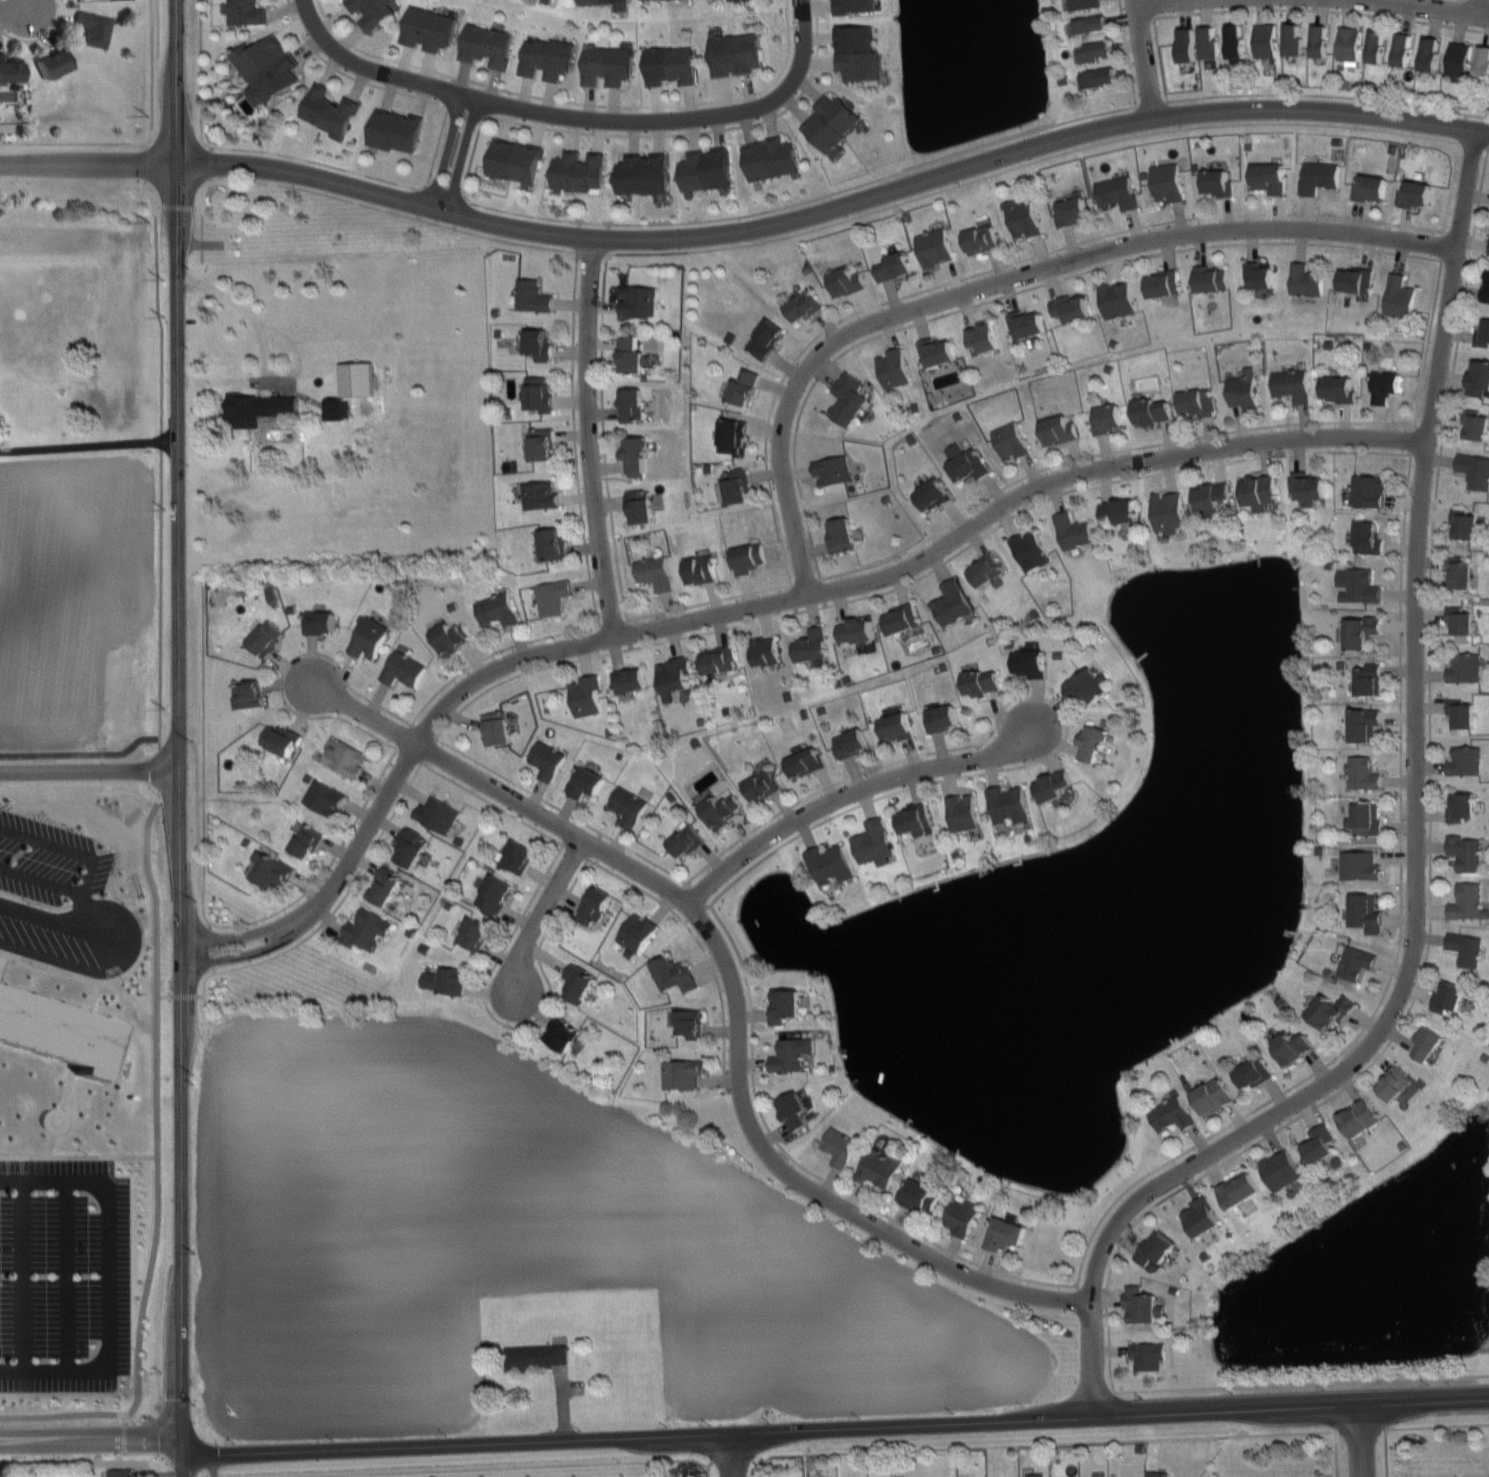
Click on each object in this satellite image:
building: (731, 0)
building: (600, 1)
road: (1158, 2)
building: (1085, 4)
road: (1425, 5)
road: (1480, 5)
building: (853, 6)
road: (1321, 9)
road: (19, 10)
building: (244, 12)
building: (372, 12)
building: (1094, 24)
building: (95, 28)
building: (428, 28)
road: (42, 37)
building: (1293, 39)
building: (1265, 40)
building: (1236, 41)
building: (1320, 41)
building: (1209, 43)
building: (486, 45)
building: (1187, 45)
building: (1348, 45)
building: (1377, 46)
building: (1404, 49)
building: (1100, 50)
building: (857, 52)
building: (735, 53)
road: (1127, 53)
building: (1431, 54)
building: (546, 57)
road: (1144, 57)
building: (1459, 58)
road: (1159, 60)
building: (1482, 62)
building: (55, 64)
building: (607, 64)
building: (671, 65)
building: (11, 69)
building: (266, 69)
road: (151, 71)
building: (1103, 77)
road: (1328, 94)
road: (574, 101)
building: (329, 111)
road: (776, 113)
road: (577, 117)
building: (831, 123)
building: (397, 130)
road: (74, 141)
road: (473, 145)
road: (1486, 148)
road: (451, 153)
building: (771, 158)
building: (515, 160)
road: (1027, 161)
road: (88, 162)
building: (707, 168)
building: (579, 170)
building: (643, 173)
building: (1319, 176)
road: (380, 178)
building: (1270, 178)
road: (870, 180)
building: (1167, 182)
building: (1217, 182)
building: (1371, 187)
road: (1449, 187)
building: (1118, 193)
building: (1417, 194)
road: (834, 206)
road: (388, 209)
building: (1073, 210)
building: (1024, 218)
road: (201, 220)
building: (981, 240)
building: (935, 247)
building: (1488, 249)
building: (896, 267)
road: (991, 267)
building: (1261, 276)
building: (1211, 278)
road: (1008, 279)
building: (1306, 280)
building: (848, 281)
building: (1355, 281)
building: (1162, 284)
building: (1485, 287)
road: (1016, 291)
building: (533, 296)
building: (1400, 296)
building: (640, 300)
building: (1118, 300)
building: (805, 305)
road: (572, 306)
building: (1072, 309)
road: (262, 319)
building: (1028, 325)
building: (1482, 331)
building: (984, 336)
building: (768, 338)
road: (262, 341)
road: (160, 342)
building: (539, 344)
road: (1425, 347)
building: (938, 352)
building: (633, 355)
building: (893, 369)
building: (1478, 377)
building: (357, 379)
building: (1291, 385)
building: (1386, 386)
building: (746, 387)
building: (1337, 388)
building: (1245, 390)
building: (539, 394)
building: (848, 398)
building: (1196, 403)
building: (632, 405)
building: (257, 406)
building: (337, 408)
building: (1154, 411)
building: (1109, 419)
building: (1476, 424)
building: (1059, 430)
building: (731, 435)
road: (601, 436)
road: (586, 437)
building: (1011, 441)
road: (88, 444)
building: (543, 444)
road: (1102, 452)
building: (639, 457)
building: (967, 464)
building: (1474, 469)
building: (833, 471)
building: (738, 487)
building: (1309, 488)
building: (1369, 491)
building: (1260, 492)
road: (577, 494)
building: (540, 495)
building: (931, 495)
building: (1212, 497)
building: (642, 507)
building: (1121, 511)
building: (1170, 512)
building: (1465, 524)
building: (1074, 531)
building: (843, 536)
road: (1402, 536)
building: (1370, 537)
building: (553, 545)
building: (1030, 550)
building: (747, 559)
building: (701, 570)
building: (986, 570)
building: (655, 573)
building: (1461, 573)
building: (1359, 586)
building: (552, 597)
road: (706, 600)
building: (952, 604)
road: (746, 606)
building: (497, 610)
building: (1461, 619)
building: (902, 620)
building: (321, 622)
road: (159, 626)
building: (856, 632)
building: (1364, 632)
building: (267, 637)
building: (450, 637)
building: (370, 638)
building: (812, 646)
building: (765, 652)
building: (720, 660)
building: (1030, 663)
building: (1465, 667)
building: (403, 669)
building: (674, 678)
building: (630, 680)
building: (1369, 680)
building: (981, 683)
building: (1088, 688)
building: (250, 696)
road: (365, 697)
building: (586, 697)
road: (1058, 707)
road: (456, 712)
building: (1462, 712)
building: (943, 718)
building: (1366, 725)
building: (895, 727)
building: (497, 729)
road: (177, 738)
building: (280, 739)
building: (852, 743)
building: (1095, 743)
road: (203, 754)
building: (346, 758)
building: (547, 760)
building: (1466, 760)
building: (806, 763)
road: (89, 770)
building: (1363, 773)
building: (586, 782)
building: (1057, 785)
building: (763, 786)
road: (1429, 793)
road: (845, 795)
building: (324, 797)
road: (491, 802)
building: (1009, 805)
building: (627, 806)
building: (1462, 807)
building: (722, 810)
building: (964, 812)
building: (437, 814)
building: (915, 819)
building: (1366, 821)
road: (585, 822)
building: (306, 841)
building: (686, 841)
building: (873, 843)
road: (1418, 845)
building: (411, 847)
building: (1465, 853)
road: (639, 854)
building: (518, 856)
building: (830, 865)
building: (1360, 866)
road: (324, 869)
building: (269, 870)
road: (636, 886)
building: (387, 887)
building: (494, 895)
road: (339, 900)
building: (1468, 902)
building: (596, 905)
building: (1367, 915)
road: (547, 916)
road: (111, 924)
road: (61, 925)
building: (366, 929)
building: (637, 932)
building: (474, 933)
building: (1467, 948)
building: (0, 958)
building: (1356, 964)
building: (676, 975)
building: (444, 980)
building: (579, 984)
road: (730, 989)
road: (203, 994)
building: (1448, 996)
road: (721, 998)
building: (788, 1007)
building: (1330, 1012)
building: (689, 1023)
road: (505, 1024)
building: (56, 1032)
building: (562, 1034)
building: (1427, 1043)
building: (1293, 1046)
building: (791, 1055)
building: (1252, 1072)
building: (682, 1074)
building: (1395, 1082)
road: (154, 1095)
building: (1212, 1095)
building: (796, 1112)
building: (1173, 1113)
building: (1359, 1117)
building: (1320, 1143)
building: (841, 1147)
building: (882, 1168)
road: (807, 1169)
building: (1281, 1170)
building: (1237, 1188)
building: (920, 1195)
building: (1201, 1215)
building: (963, 1216)
building: (1007, 1236)
crop: (522, 1246)
building: (1154, 1250)
road: (111, 1273)
road: (20, 1275)
road: (62, 1275)
building: (1144, 1306)
road: (1108, 1340)
building: (1149, 1355)
building: (535, 1356)
road: (1301, 1383)
road: (121, 1415)
road: (1412, 1426)
road: (836, 1433)
road: (90, 1440)
road: (1358, 1441)
road: (1060, 1442)
road: (731, 1458)
road: (486, 1467)
building: (122, 1472)
building: (1031, 1473)
building: (1153, 1473)
building: (965, 1476)
building: (1092, 1476)
building: (1458, 1476)

